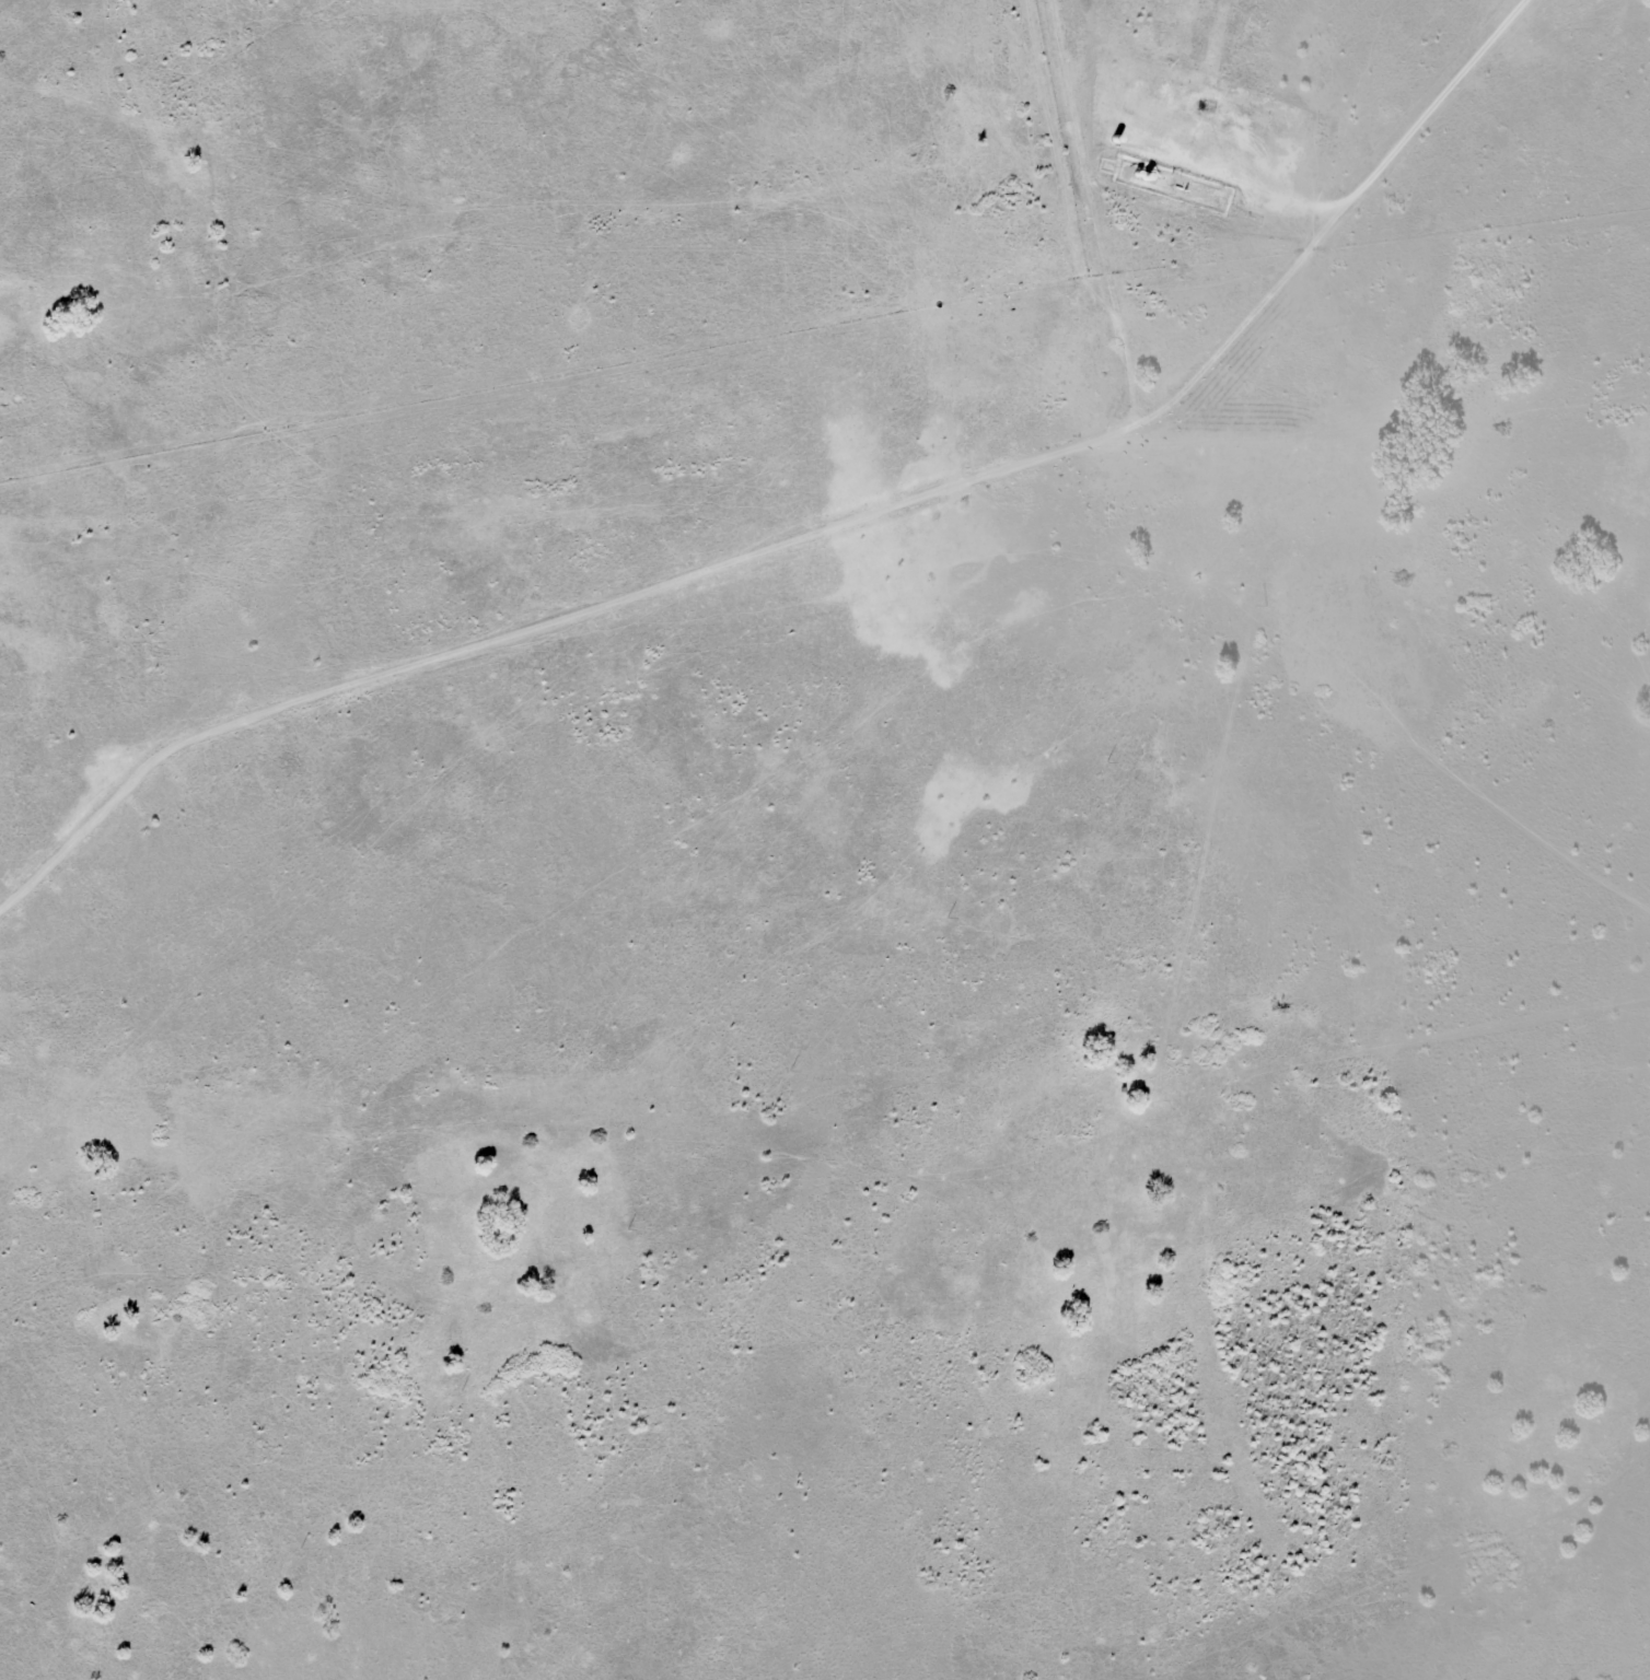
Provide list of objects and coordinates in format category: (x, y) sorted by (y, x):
road: (826, 504)

